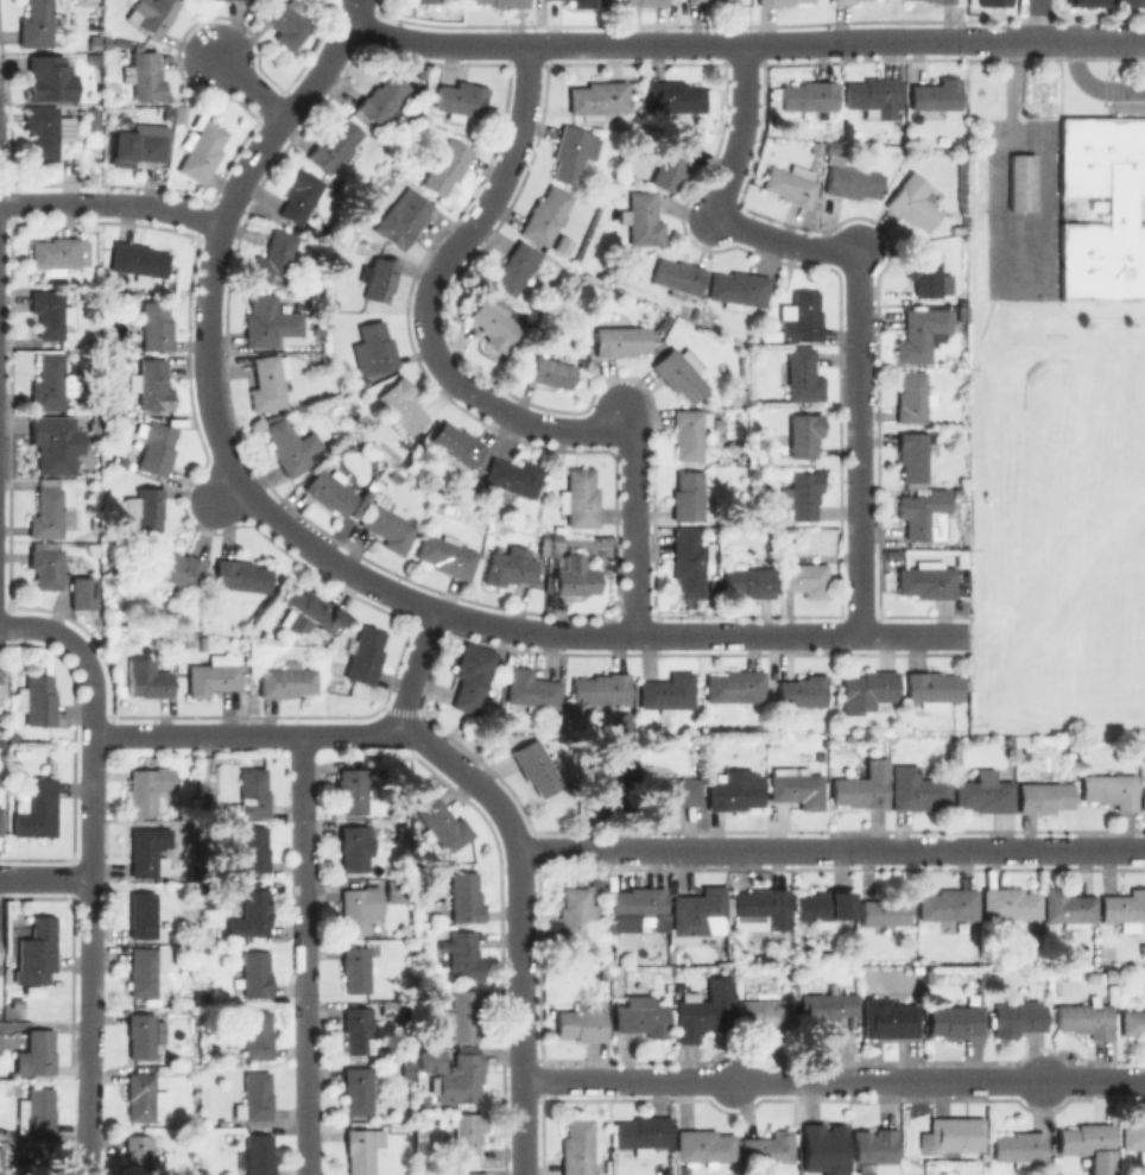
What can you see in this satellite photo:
building: (423, 0)
building: (710, 0)
building: (922, 0)
building: (778, 1)
building: (842, 1)
building: (942, 1)
building: (504, 2)
building: (645, 2)
building: (723, 2)
building: (988, 2)
building: (1080, 2)
building: (1127, 2)
building: (587, 4)
building: (152, 14)
road: (1030, 20)
building: (286, 23)
building: (36, 24)
road: (745, 43)
building: (146, 74)
building: (48, 78)
road: (251, 84)
building: (808, 95)
building: (673, 96)
building: (873, 96)
building: (382, 97)
building: (936, 97)
building: (600, 99)
building: (460, 100)
building: (93, 120)
building: (46, 131)
building: (334, 145)
building: (135, 146)
building: (816, 146)
building: (829, 146)
building: (201, 150)
building: (572, 151)
building: (673, 162)
building: (444, 164)
building: (852, 179)
building: (791, 183)
building: (1024, 183)
building: (299, 195)
building: (913, 201)
road: (110, 203)
building: (1120, 209)
building: (545, 214)
building: (401, 217)
building: (643, 219)
building: (561, 244)
building: (55, 254)
building: (276, 257)
building: (137, 258)
building: (511, 269)
building: (925, 272)
building: (679, 277)
building: (379, 278)
road: (856, 278)
building: (600, 289)
building: (740, 289)
building: (49, 312)
building: (803, 318)
building: (268, 321)
building: (492, 322)
building: (156, 324)
building: (921, 331)
building: (621, 340)
road: (207, 341)
building: (377, 346)
building: (581, 362)
building: (551, 372)
building: (681, 372)
building: (802, 374)
building: (268, 381)
building: (51, 383)
building: (151, 384)
road: (458, 384)
building: (912, 397)
building: (401, 406)
building: (689, 431)
building: (801, 436)
building: (52, 441)
building: (457, 444)
building: (292, 447)
building: (157, 448)
building: (913, 454)
building: (761, 457)
building: (413, 466)
building: (337, 473)
building: (514, 475)
building: (396, 478)
building: (330, 491)
road: (223, 493)
building: (803, 494)
building: (580, 498)
building: (689, 498)
building: (148, 507)
building: (924, 513)
building: (50, 514)
building: (387, 524)
building: (789, 537)
building: (557, 538)
building: (544, 548)
building: (447, 555)
building: (688, 561)
building: (175, 566)
building: (511, 566)
building: (45, 567)
building: (241, 574)
building: (576, 576)
building: (804, 576)
building: (926, 580)
building: (749, 581)
building: (713, 589)
building: (83, 594)
building: (306, 608)
road: (40, 627)
road: (696, 633)
building: (363, 653)
road: (415, 665)
building: (213, 675)
building: (470, 675)
building: (147, 678)
building: (286, 678)
building: (2, 682)
building: (735, 686)
road: (94, 688)
building: (601, 688)
building: (932, 688)
building: (531, 689)
building: (668, 690)
building: (867, 690)
building: (802, 691)
building: (37, 700)
building: (624, 722)
building: (830, 726)
road: (246, 733)
building: (848, 737)
building: (768, 740)
building: (830, 741)
building: (820, 754)
building: (536, 766)
building: (608, 781)
building: (148, 787)
building: (864, 787)
building: (798, 788)
building: (1109, 788)
building: (733, 789)
building: (917, 789)
building: (353, 790)
building: (672, 790)
building: (253, 791)
building: (1043, 794)
building: (1143, 794)
building: (985, 795)
building: (36, 808)
building: (0, 820)
building: (443, 823)
building: (405, 830)
building: (354, 845)
building: (254, 848)
road: (831, 848)
building: (146, 852)
road: (46, 879)
building: (466, 897)
road: (93, 899)
building: (638, 903)
building: (948, 903)
building: (1010, 905)
building: (761, 906)
building: (824, 906)
building: (1068, 906)
building: (359, 908)
building: (1125, 909)
building: (886, 910)
building: (253, 912)
building: (698, 912)
building: (143, 914)
building: (576, 917)
road: (520, 920)
building: (36, 952)
building: (1107, 952)
road: (305, 954)
building: (461, 954)
building: (145, 968)
building: (355, 968)
building: (254, 972)
building: (1108, 977)
building: (1092, 978)
building: (995, 984)
building: (34, 992)
building: (17, 1002)
building: (827, 1006)
building: (703, 1009)
building: (464, 1012)
building: (764, 1012)
building: (641, 1016)
building: (890, 1017)
building: (1018, 1017)
building: (954, 1019)
building: (1086, 1019)
building: (582, 1022)
building: (1133, 1022)
building: (358, 1029)
building: (145, 1032)
building: (257, 1035)
building: (38, 1051)
building: (410, 1070)
building: (464, 1075)
road: (834, 1079)
building: (358, 1089)
building: (144, 1097)
building: (255, 1097)
building: (37, 1111)
road: (89, 1119)
building: (643, 1132)
building: (957, 1133)
building: (1133, 1133)
building: (464, 1136)
building: (823, 1139)
building: (704, 1144)
building: (874, 1145)
building: (1089, 1145)
building: (577, 1146)
building: (361, 1148)
building: (1019, 1149)
building: (767, 1150)
building: (139, 1155)
building: (257, 1155)
building: (468, 1173)

